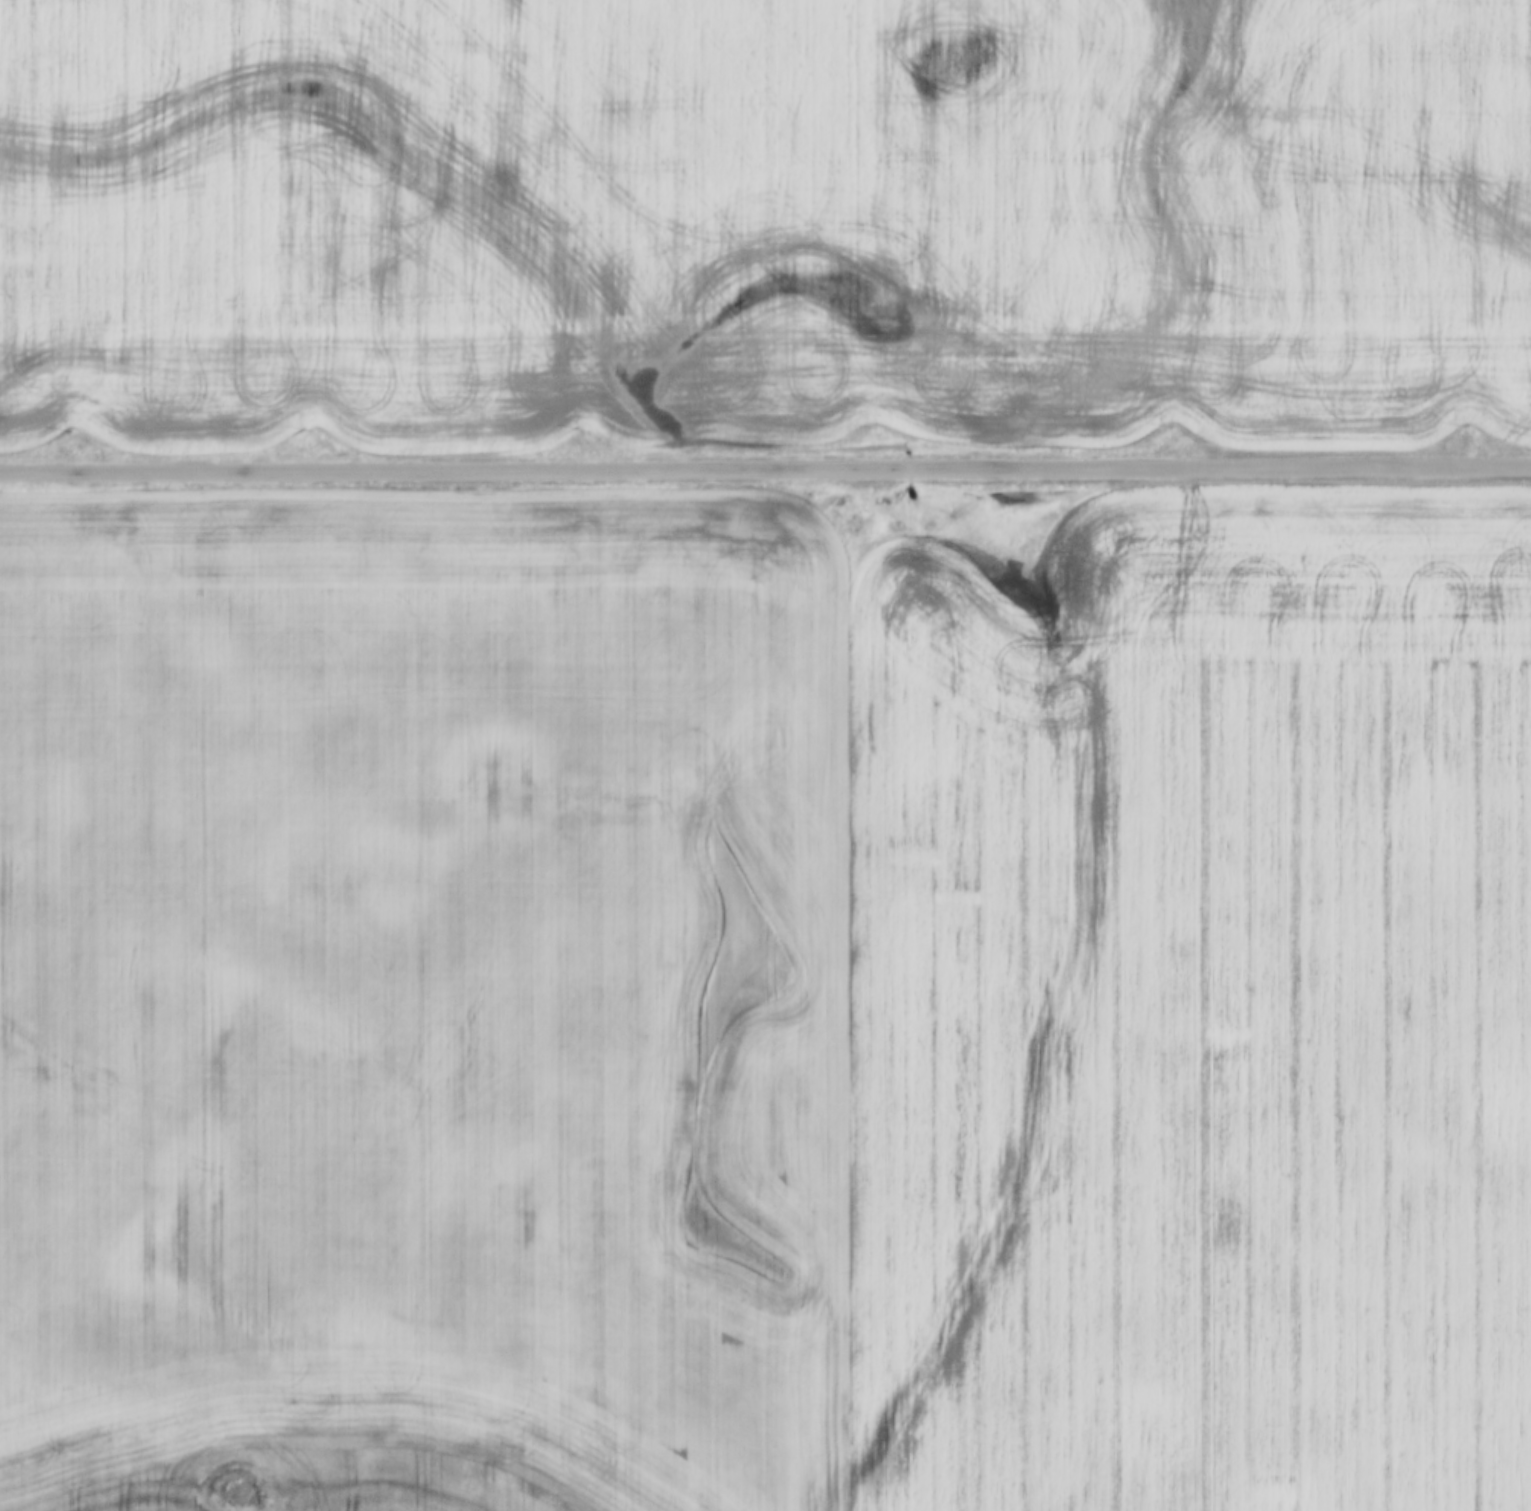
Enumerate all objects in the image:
road: (765, 469)

